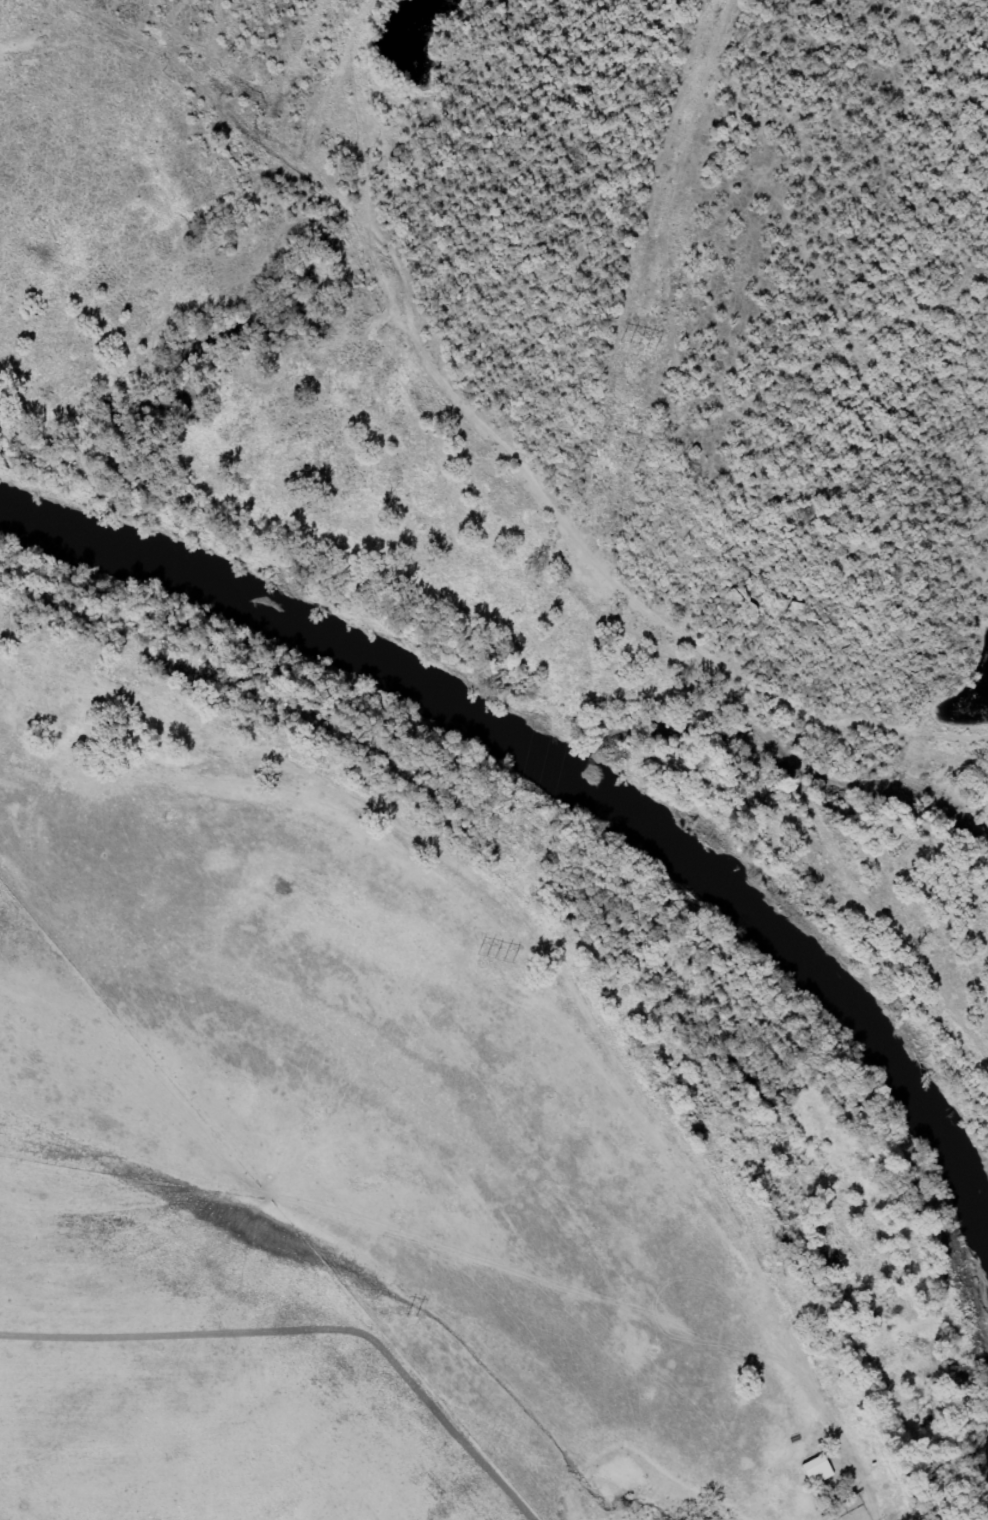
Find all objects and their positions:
building: (813, 1470)
railway: (980, 1512)

